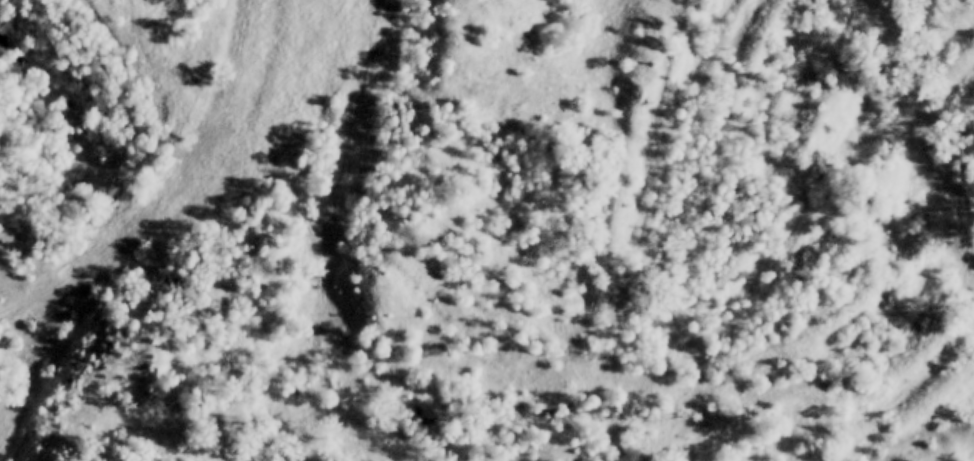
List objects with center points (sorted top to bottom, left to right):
road: (196, 152)
quarry: (487, 230)
road: (320, 241)
road: (42, 288)
road: (36, 355)

